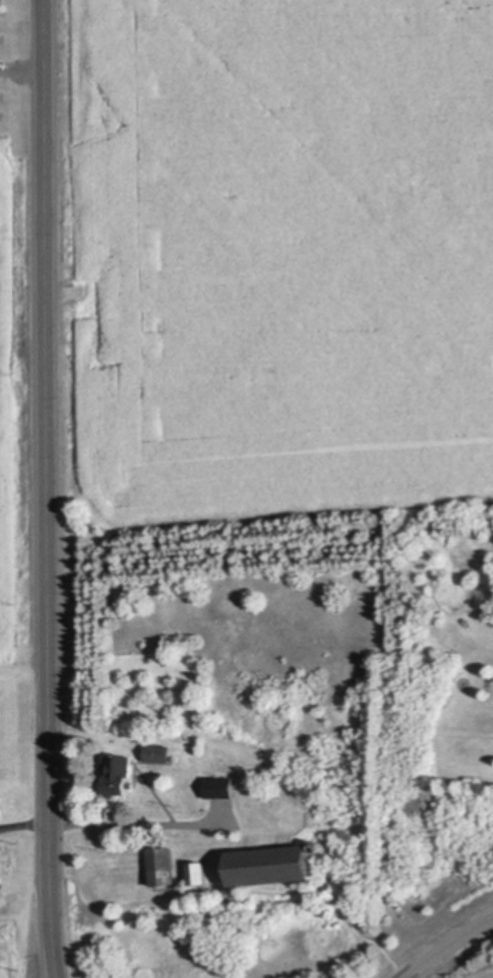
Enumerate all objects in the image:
road: (21, 70)
crop: (19, 408)
road: (46, 489)
building: (160, 752)
building: (118, 774)
building: (222, 786)
building: (0, 810)
road: (138, 822)
road: (24, 823)
building: (321, 846)
building: (273, 863)
building: (165, 865)
building: (3, 869)
building: (200, 872)
road: (445, 945)

